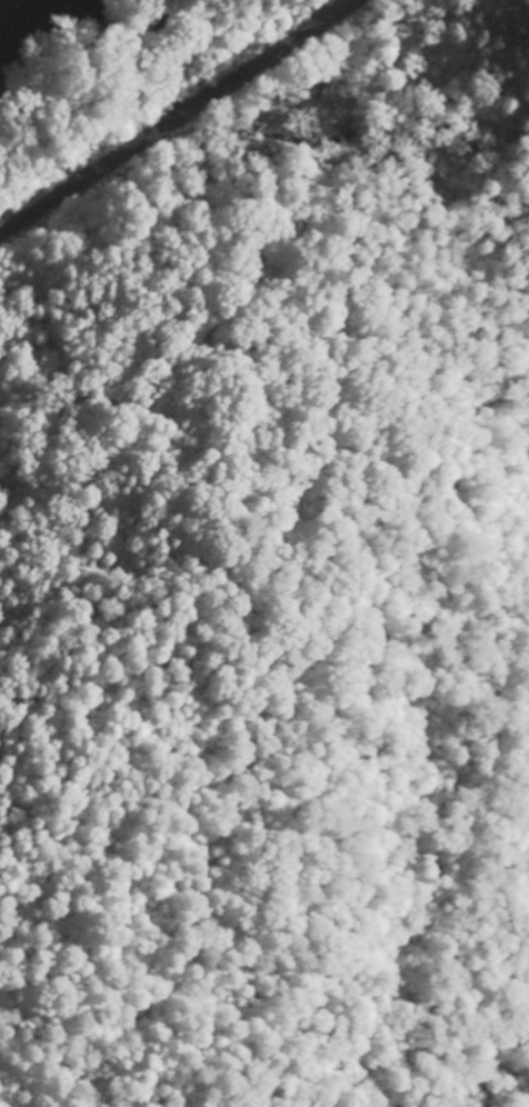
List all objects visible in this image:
railway: (171, 116)

